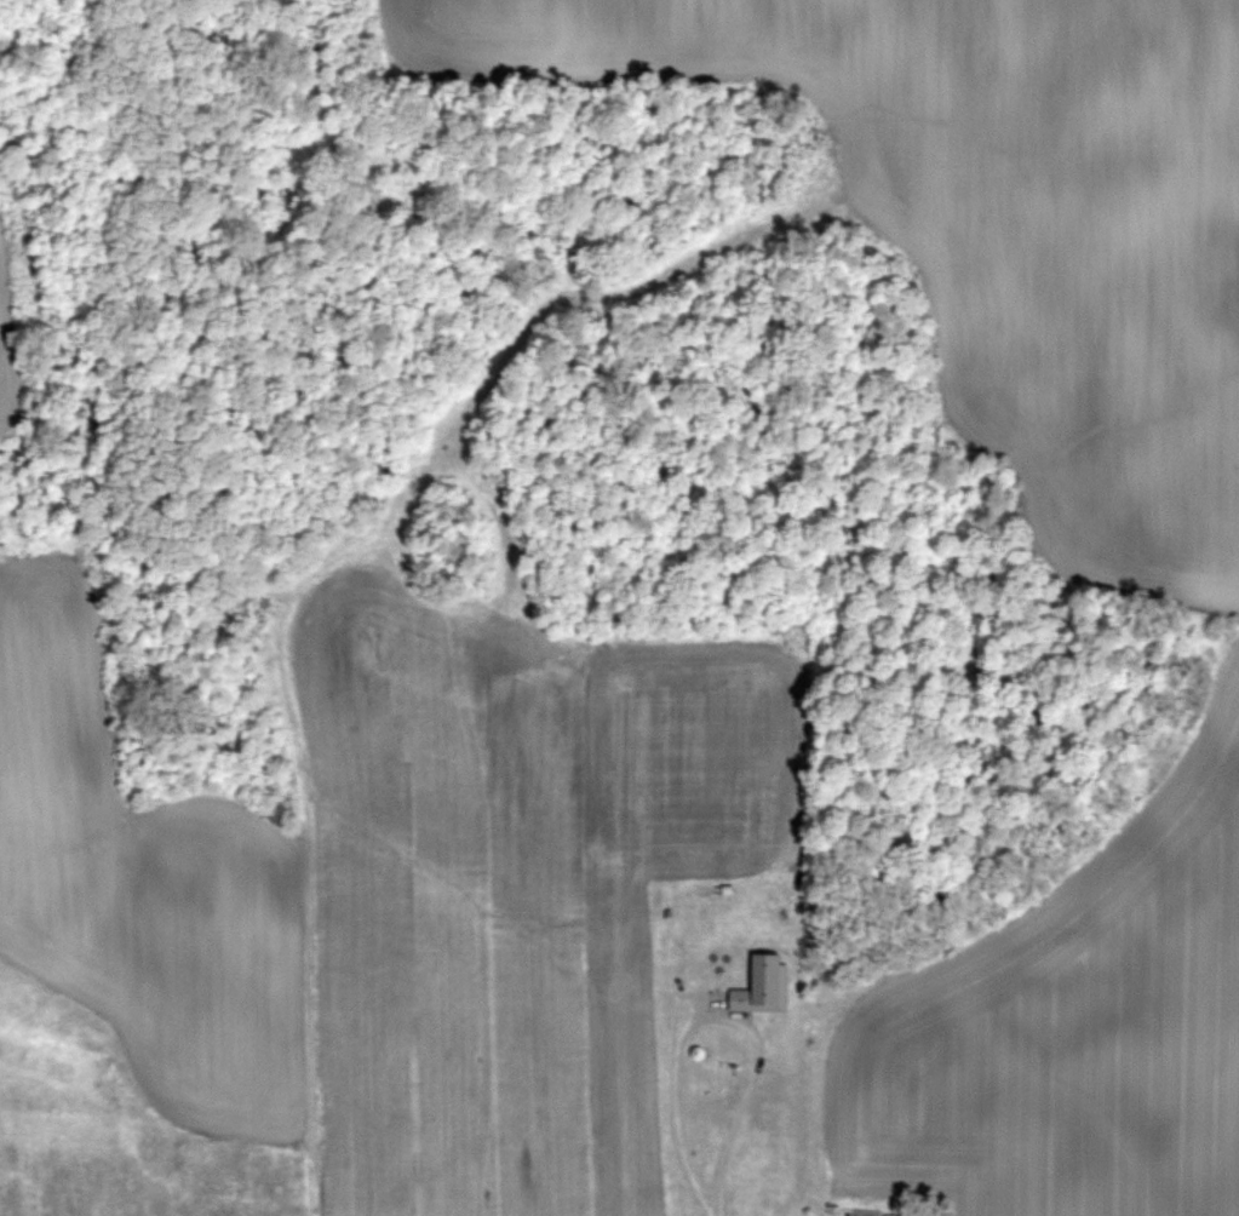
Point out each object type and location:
building: (701, 1065)
road: (683, 1082)
building: (736, 1153)

